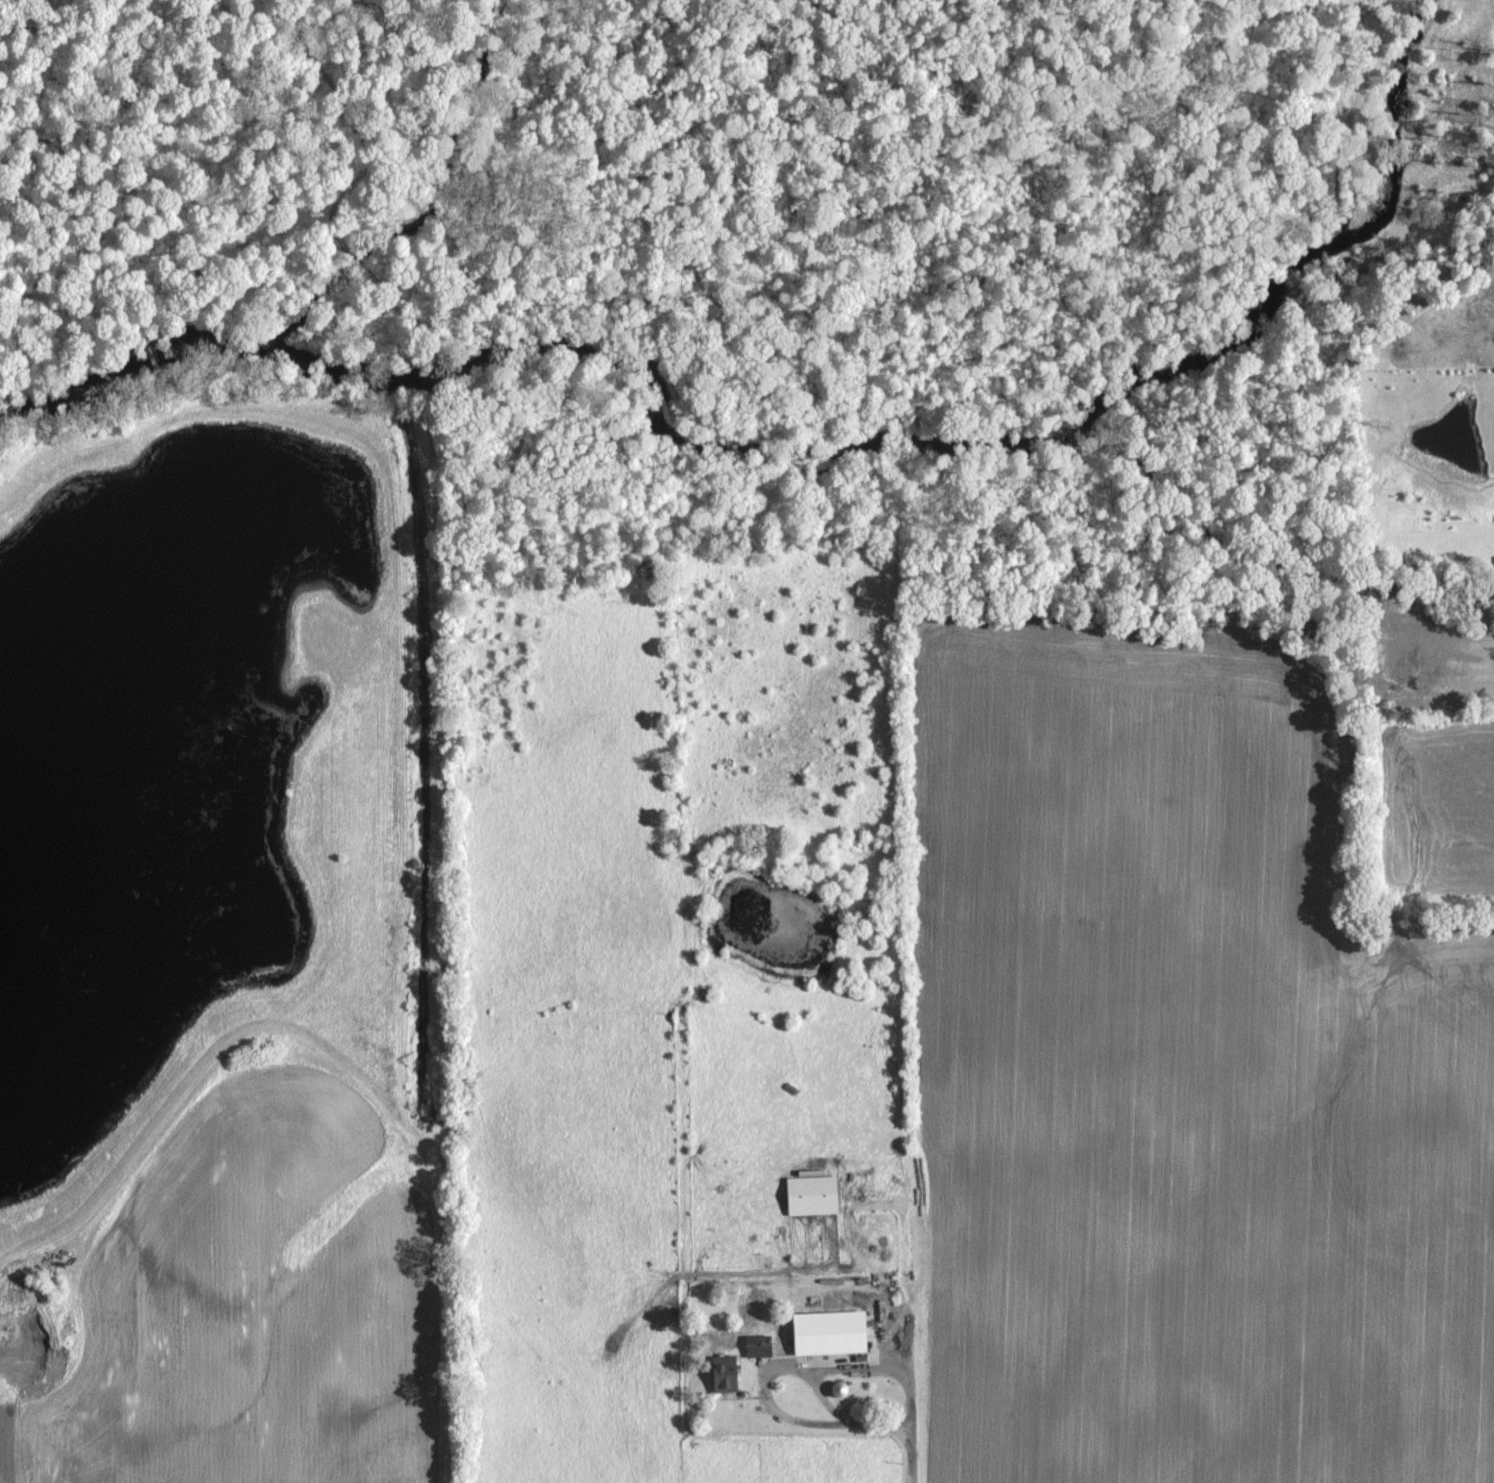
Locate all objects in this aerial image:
building: (812, 1192)
building: (829, 1331)
building: (758, 1345)
road: (887, 1372)
building: (725, 1374)
road: (770, 1407)
road: (911, 1465)

